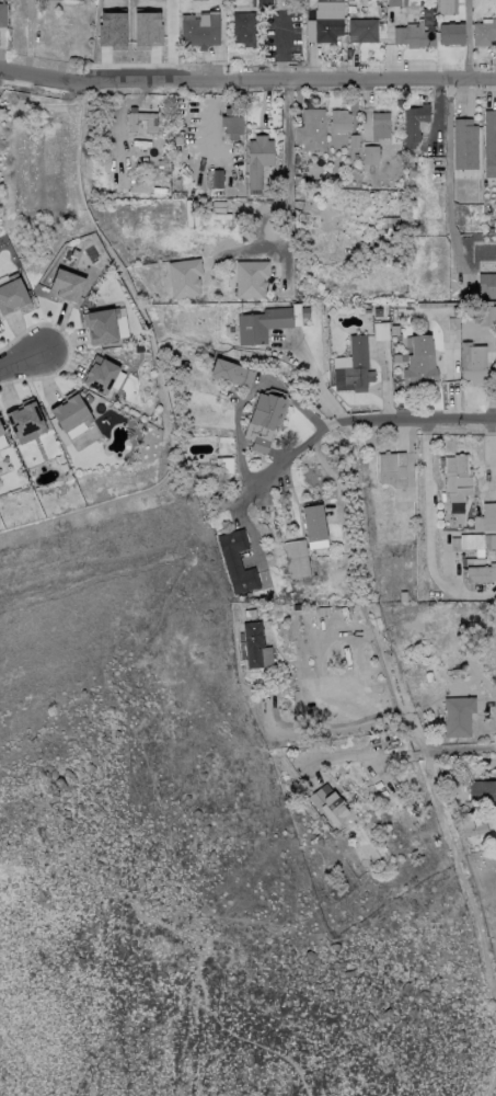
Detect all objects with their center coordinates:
building: (264, 3)
building: (394, 3)
building: (446, 8)
building: (2, 15)
building: (112, 28)
building: (147, 28)
building: (244, 28)
building: (328, 30)
building: (365, 30)
building: (201, 32)
building: (484, 33)
building: (452, 34)
building: (414, 36)
road: (464, 41)
road: (246, 82)
building: (232, 123)
building: (341, 123)
building: (380, 125)
building: (414, 125)
building: (151, 126)
building: (312, 130)
building: (178, 138)
building: (465, 145)
building: (491, 145)
building: (420, 153)
building: (370, 155)
building: (298, 159)
building: (258, 160)
road: (284, 161)
building: (413, 170)
road: (446, 176)
building: (218, 180)
building: (185, 277)
building: (251, 279)
building: (67, 286)
building: (487, 286)
building: (12, 295)
building: (367, 311)
building: (378, 312)
building: (304, 313)
building: (487, 315)
building: (102, 326)
building: (263, 326)
building: (395, 330)
building: (381, 331)
building: (396, 358)
road: (22, 362)
building: (420, 362)
building: (473, 364)
building: (355, 367)
building: (231, 373)
building: (101, 375)
road: (315, 380)
road: (244, 392)
building: (266, 412)
building: (71, 414)
building: (25, 420)
road: (420, 422)
building: (1, 432)
building: (261, 445)
road: (284, 455)
building: (224, 466)
building: (392, 469)
building: (458, 478)
building: (314, 523)
building: (484, 524)
building: (491, 541)
building: (472, 543)
building: (297, 559)
building: (237, 561)
building: (478, 574)
building: (403, 596)
building: (297, 607)
building: (250, 614)
building: (369, 614)
building: (373, 636)
building: (428, 639)
building: (253, 643)
building: (455, 663)
building: (459, 673)
building: (429, 677)
building: (458, 717)
road: (355, 721)
building: (393, 743)
road: (461, 751)
road: (369, 754)
building: (483, 791)
building: (330, 804)
building: (472, 825)
road: (466, 888)
road: (204, 958)
road: (198, 1075)
road: (491, 1076)

